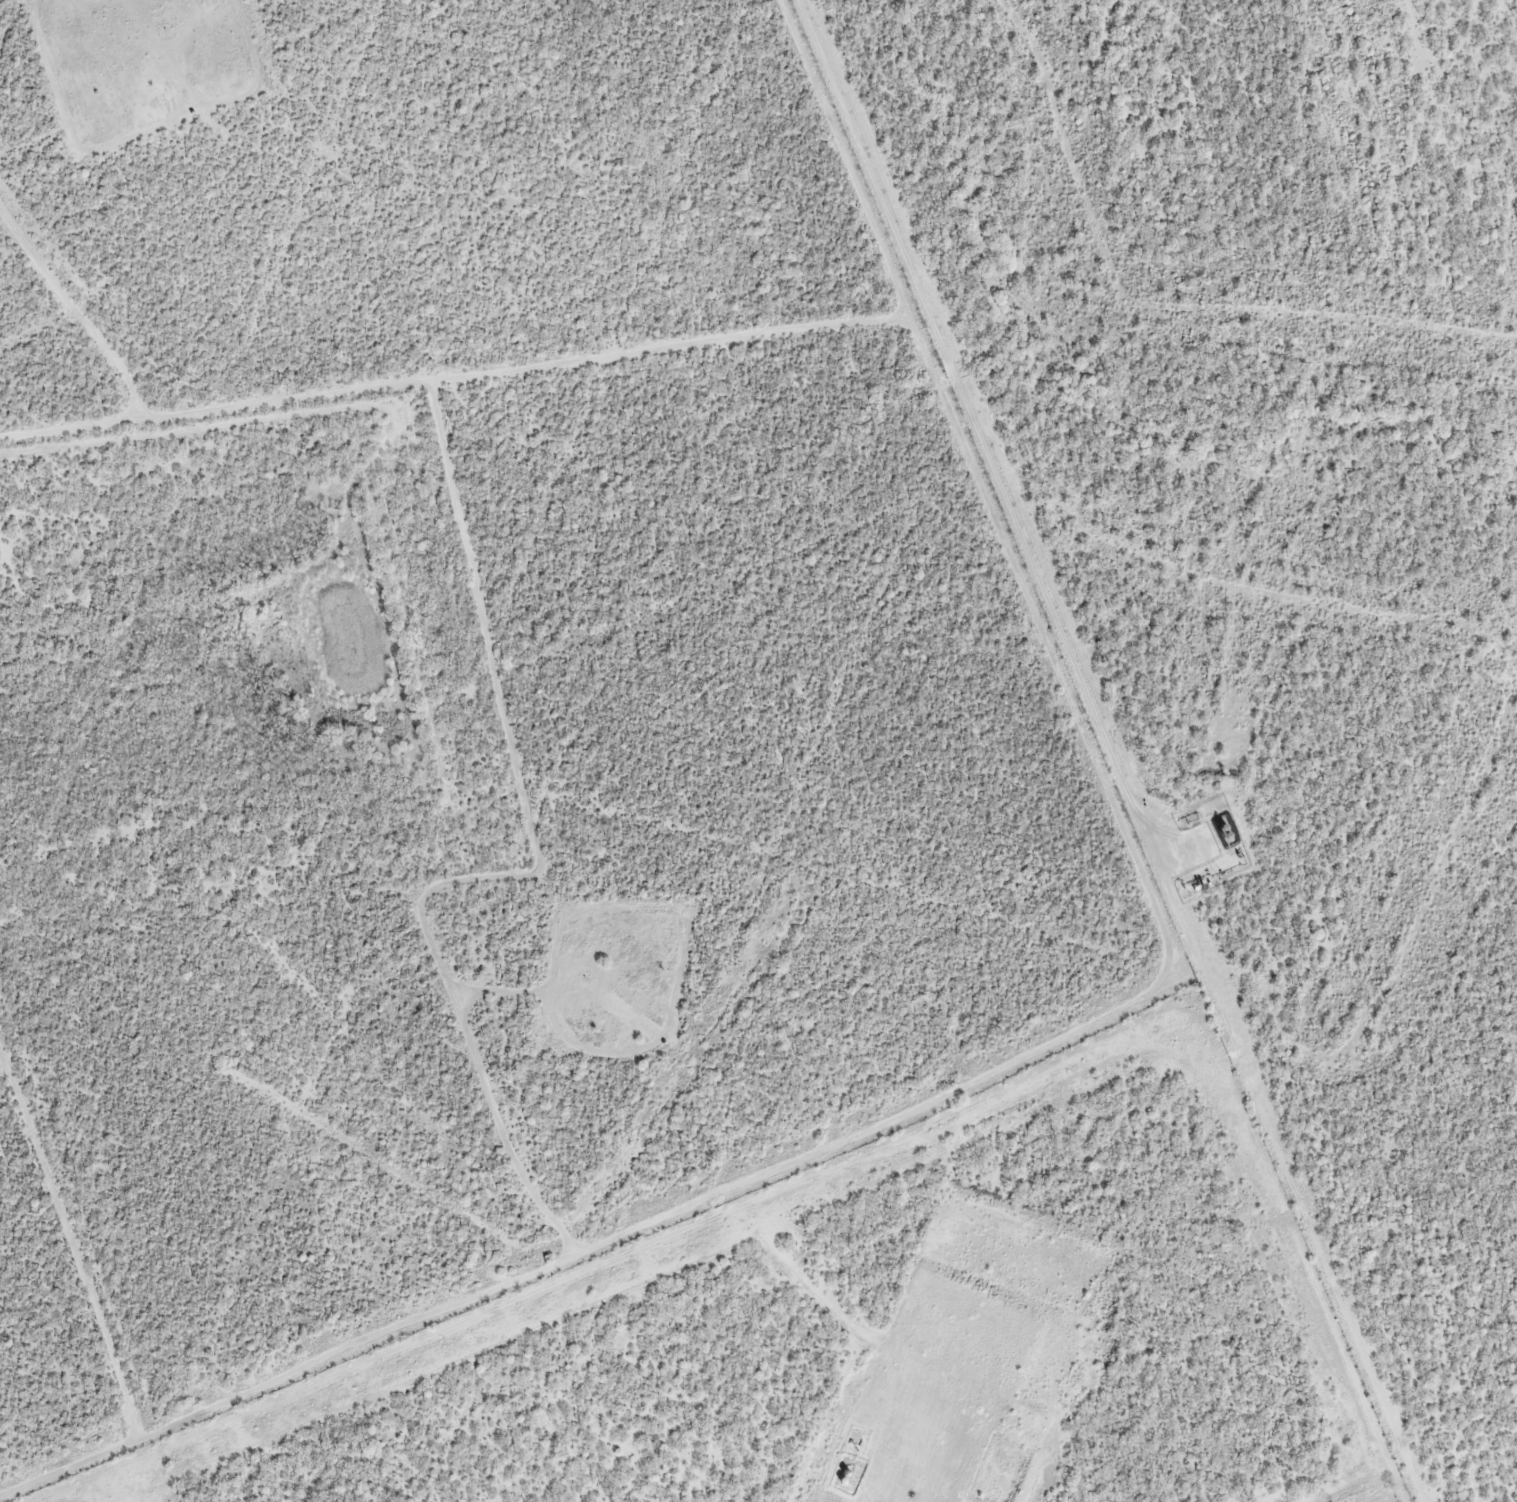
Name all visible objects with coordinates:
road: (979, 458)
road: (914, 1413)

